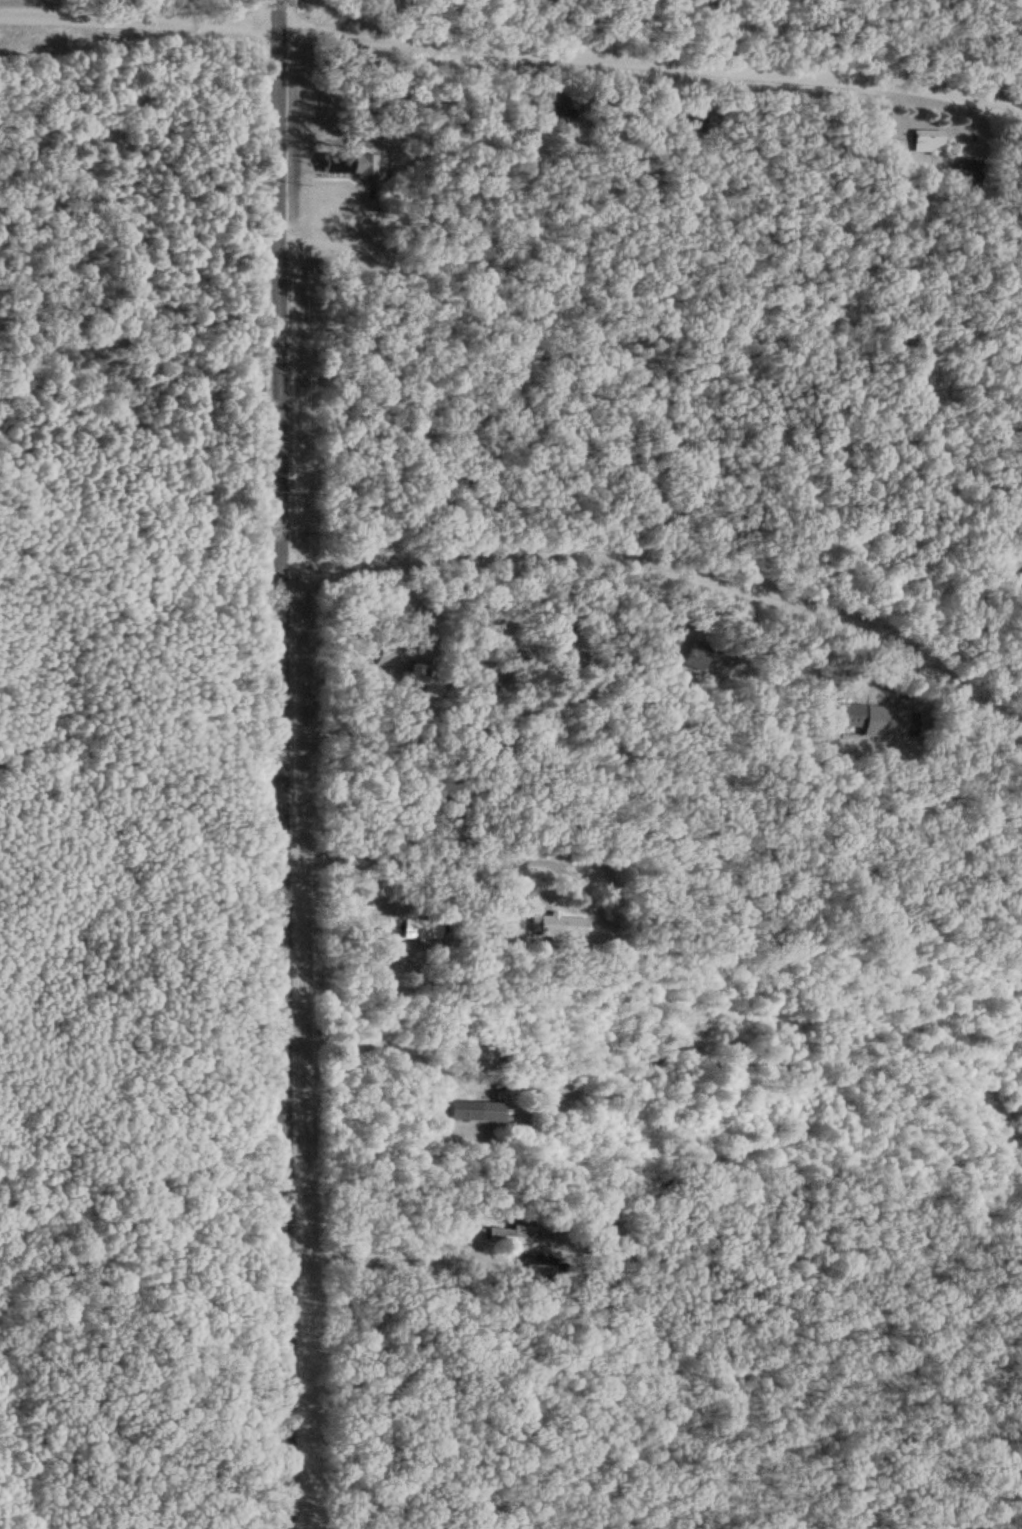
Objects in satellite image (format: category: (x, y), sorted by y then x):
road: (512, 48)
building: (927, 138)
building: (969, 171)
road: (677, 569)
building: (668, 646)
building: (422, 675)
building: (851, 713)
building: (879, 721)
road: (283, 764)
building: (471, 842)
building: (559, 923)
building: (386, 936)
building: (491, 1109)
building: (514, 1236)
building: (537, 1269)

